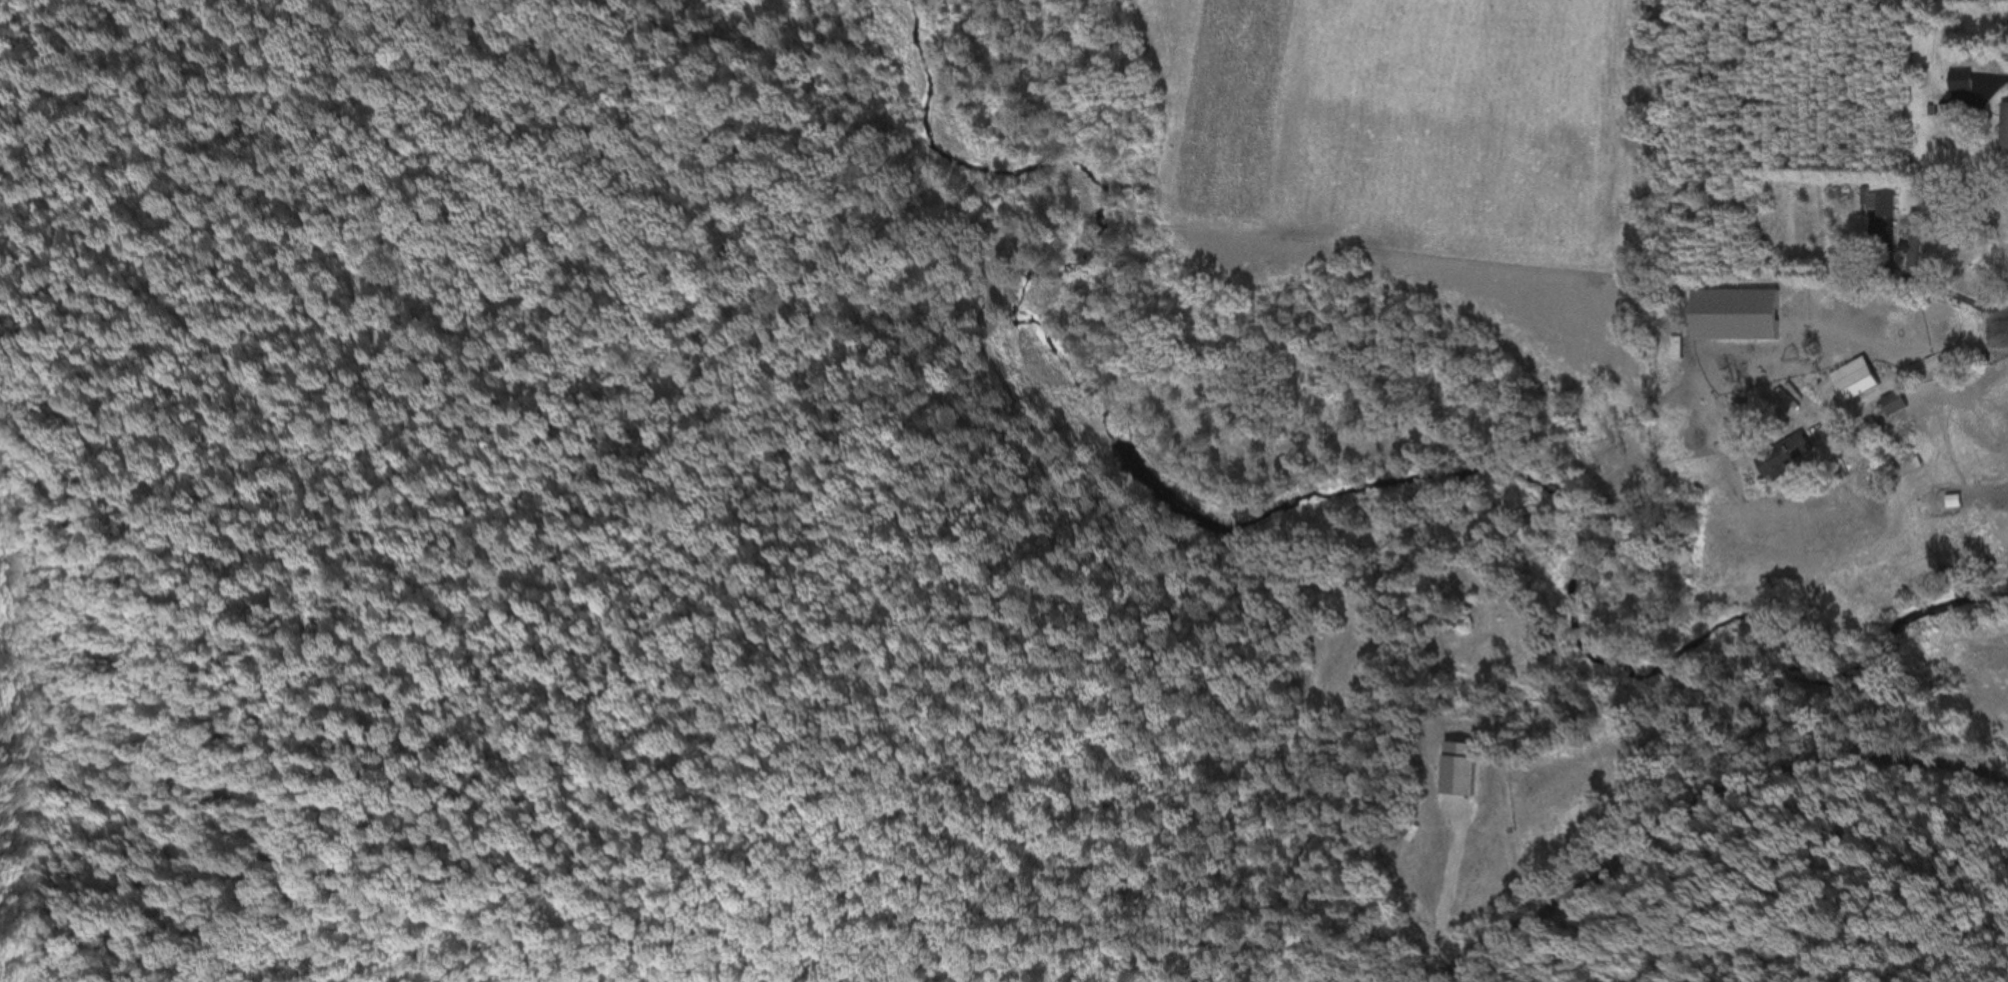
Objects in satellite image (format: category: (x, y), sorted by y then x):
road: (1996, 339)
road: (1700, 806)

